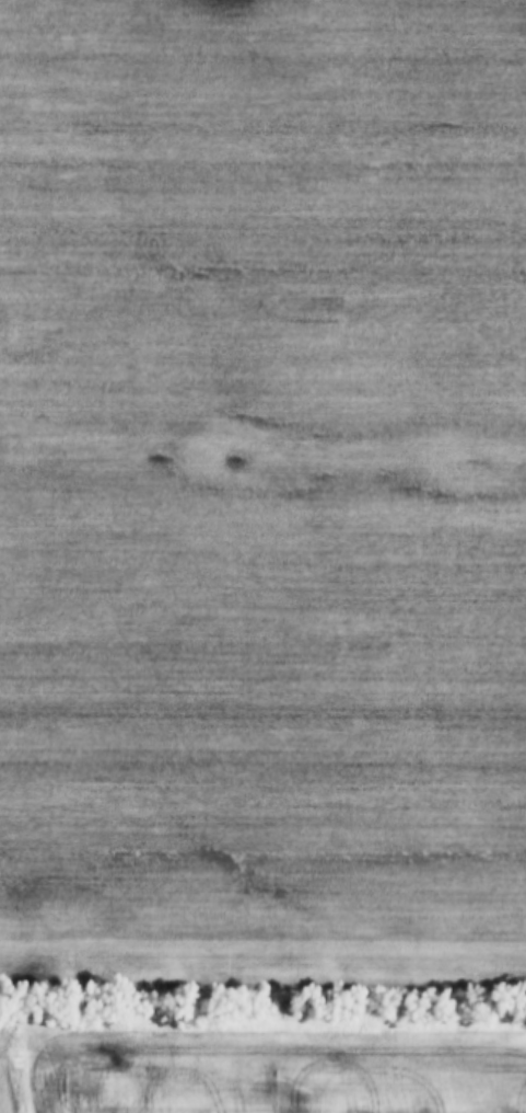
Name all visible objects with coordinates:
crop: (262, 495)
crop: (365, 1052)

